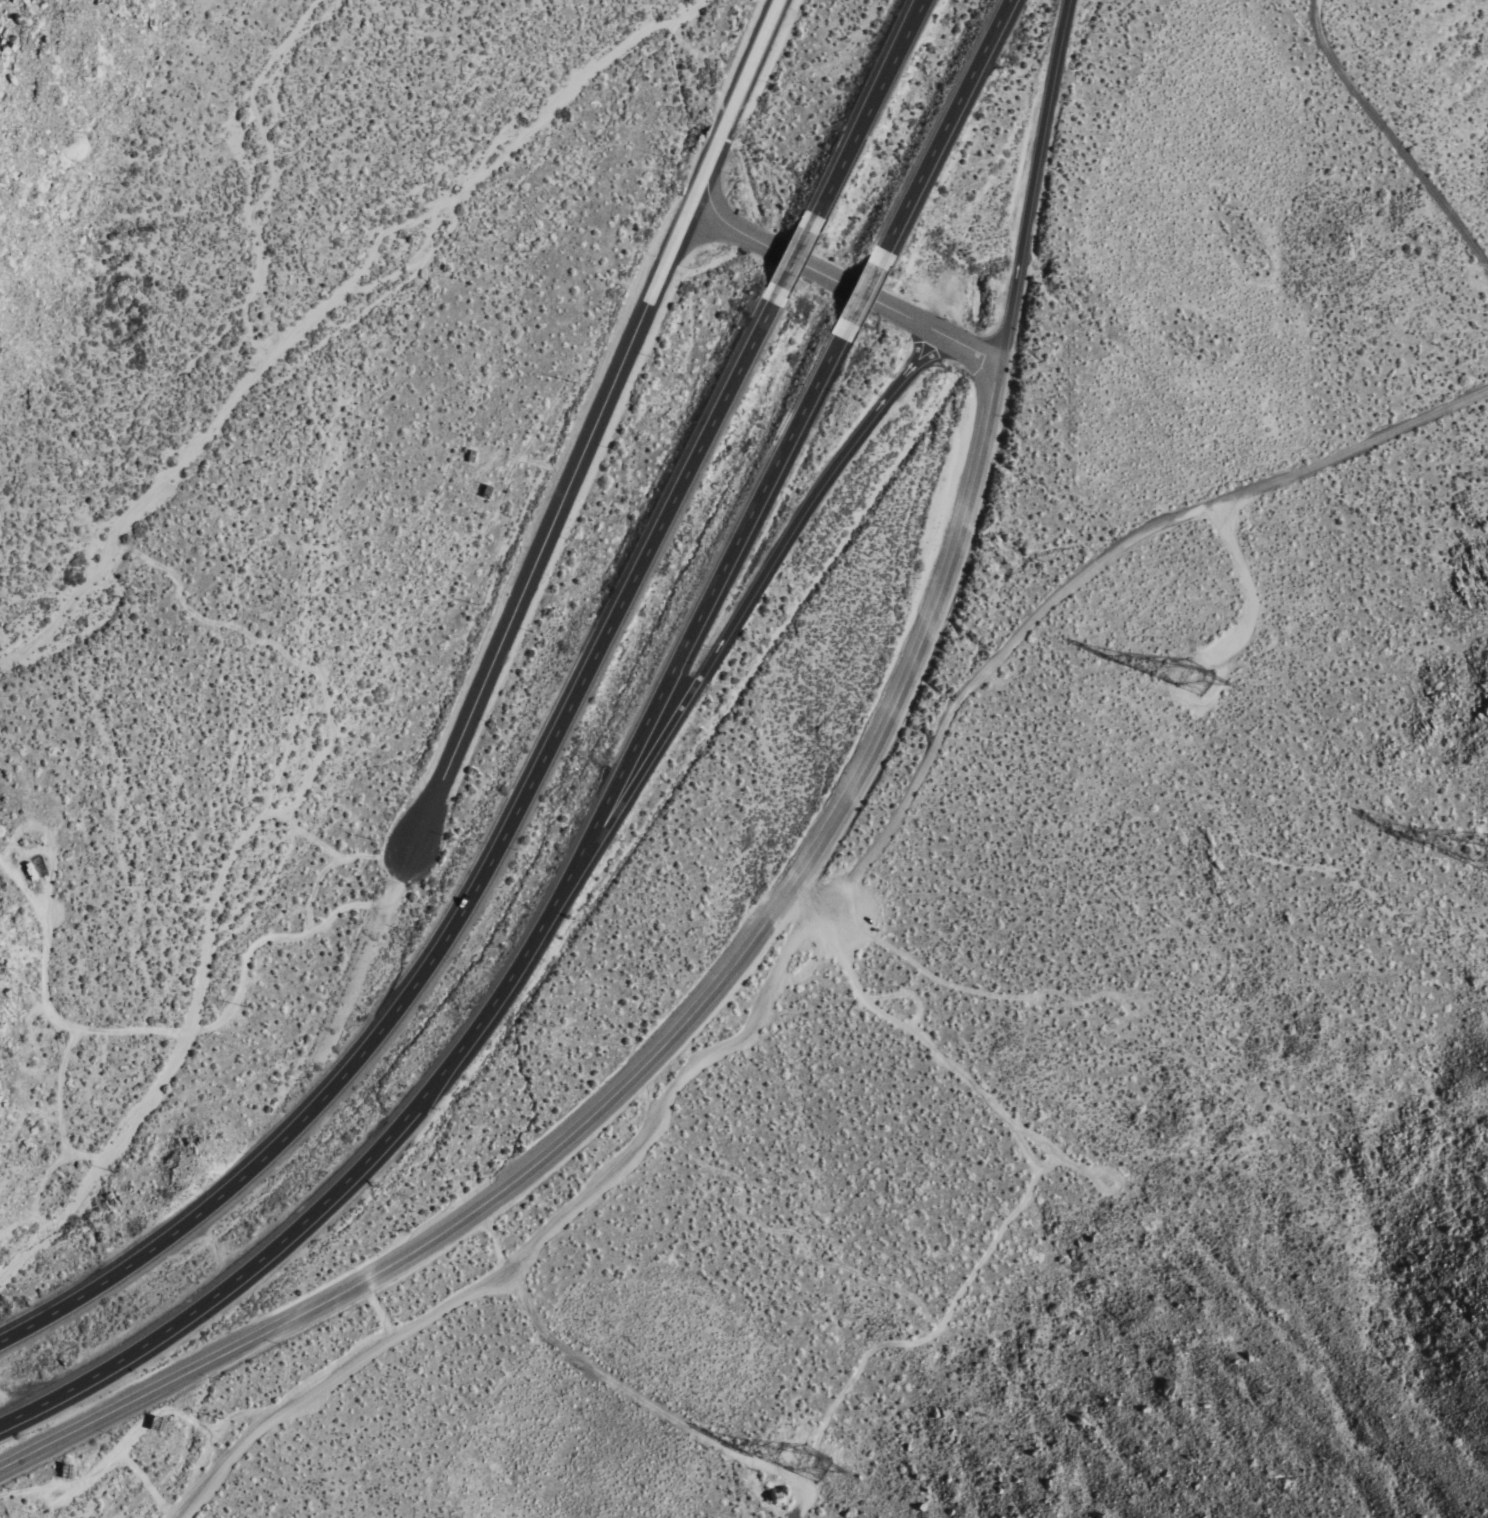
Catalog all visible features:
road: (747, 79)
road: (869, 113)
road: (944, 130)
road: (1391, 134)
road: (706, 183)
road: (1035, 185)
road: (681, 239)
road: (797, 261)
road: (806, 269)
road: (861, 295)
road: (930, 334)
road: (911, 348)
road: (926, 357)
road: (977, 358)
road: (739, 376)
road: (536, 565)
road: (698, 623)
road: (722, 641)
power tower: (1209, 676)
road: (496, 853)
road: (817, 906)
parking lot: (835, 916)
road: (830, 932)
road: (532, 945)
road: (656, 1057)
road: (960, 1073)
road: (1110, 1191)
road: (288, 1237)
road: (492, 1239)
road: (135, 1264)
road: (376, 1313)
road: (22, 1332)
road: (596, 1383)
power tower: (824, 1467)

